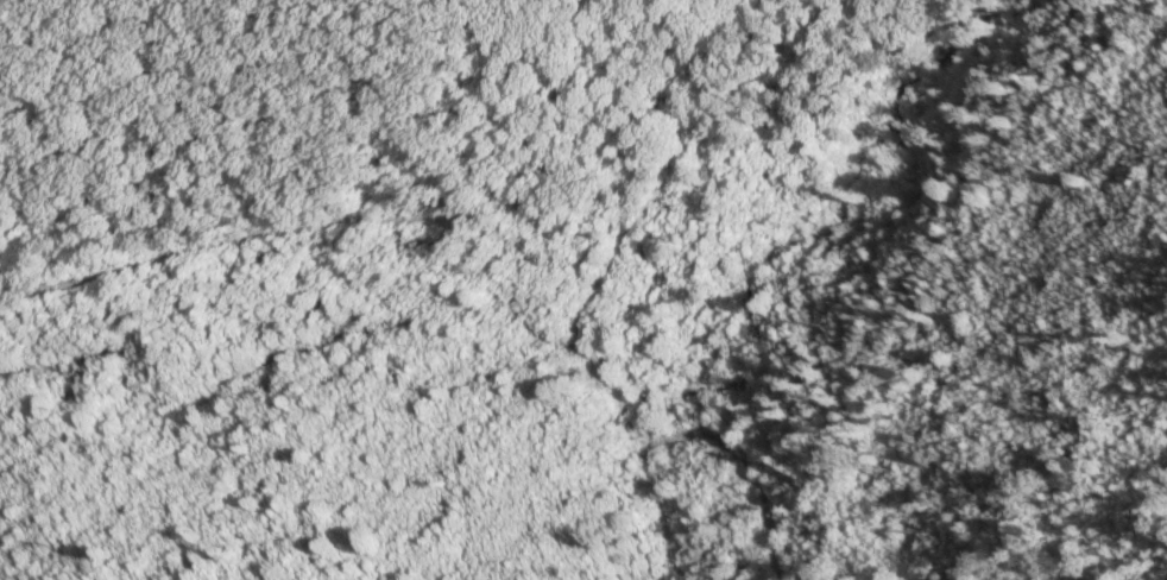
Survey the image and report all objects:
road: (392, 203)

